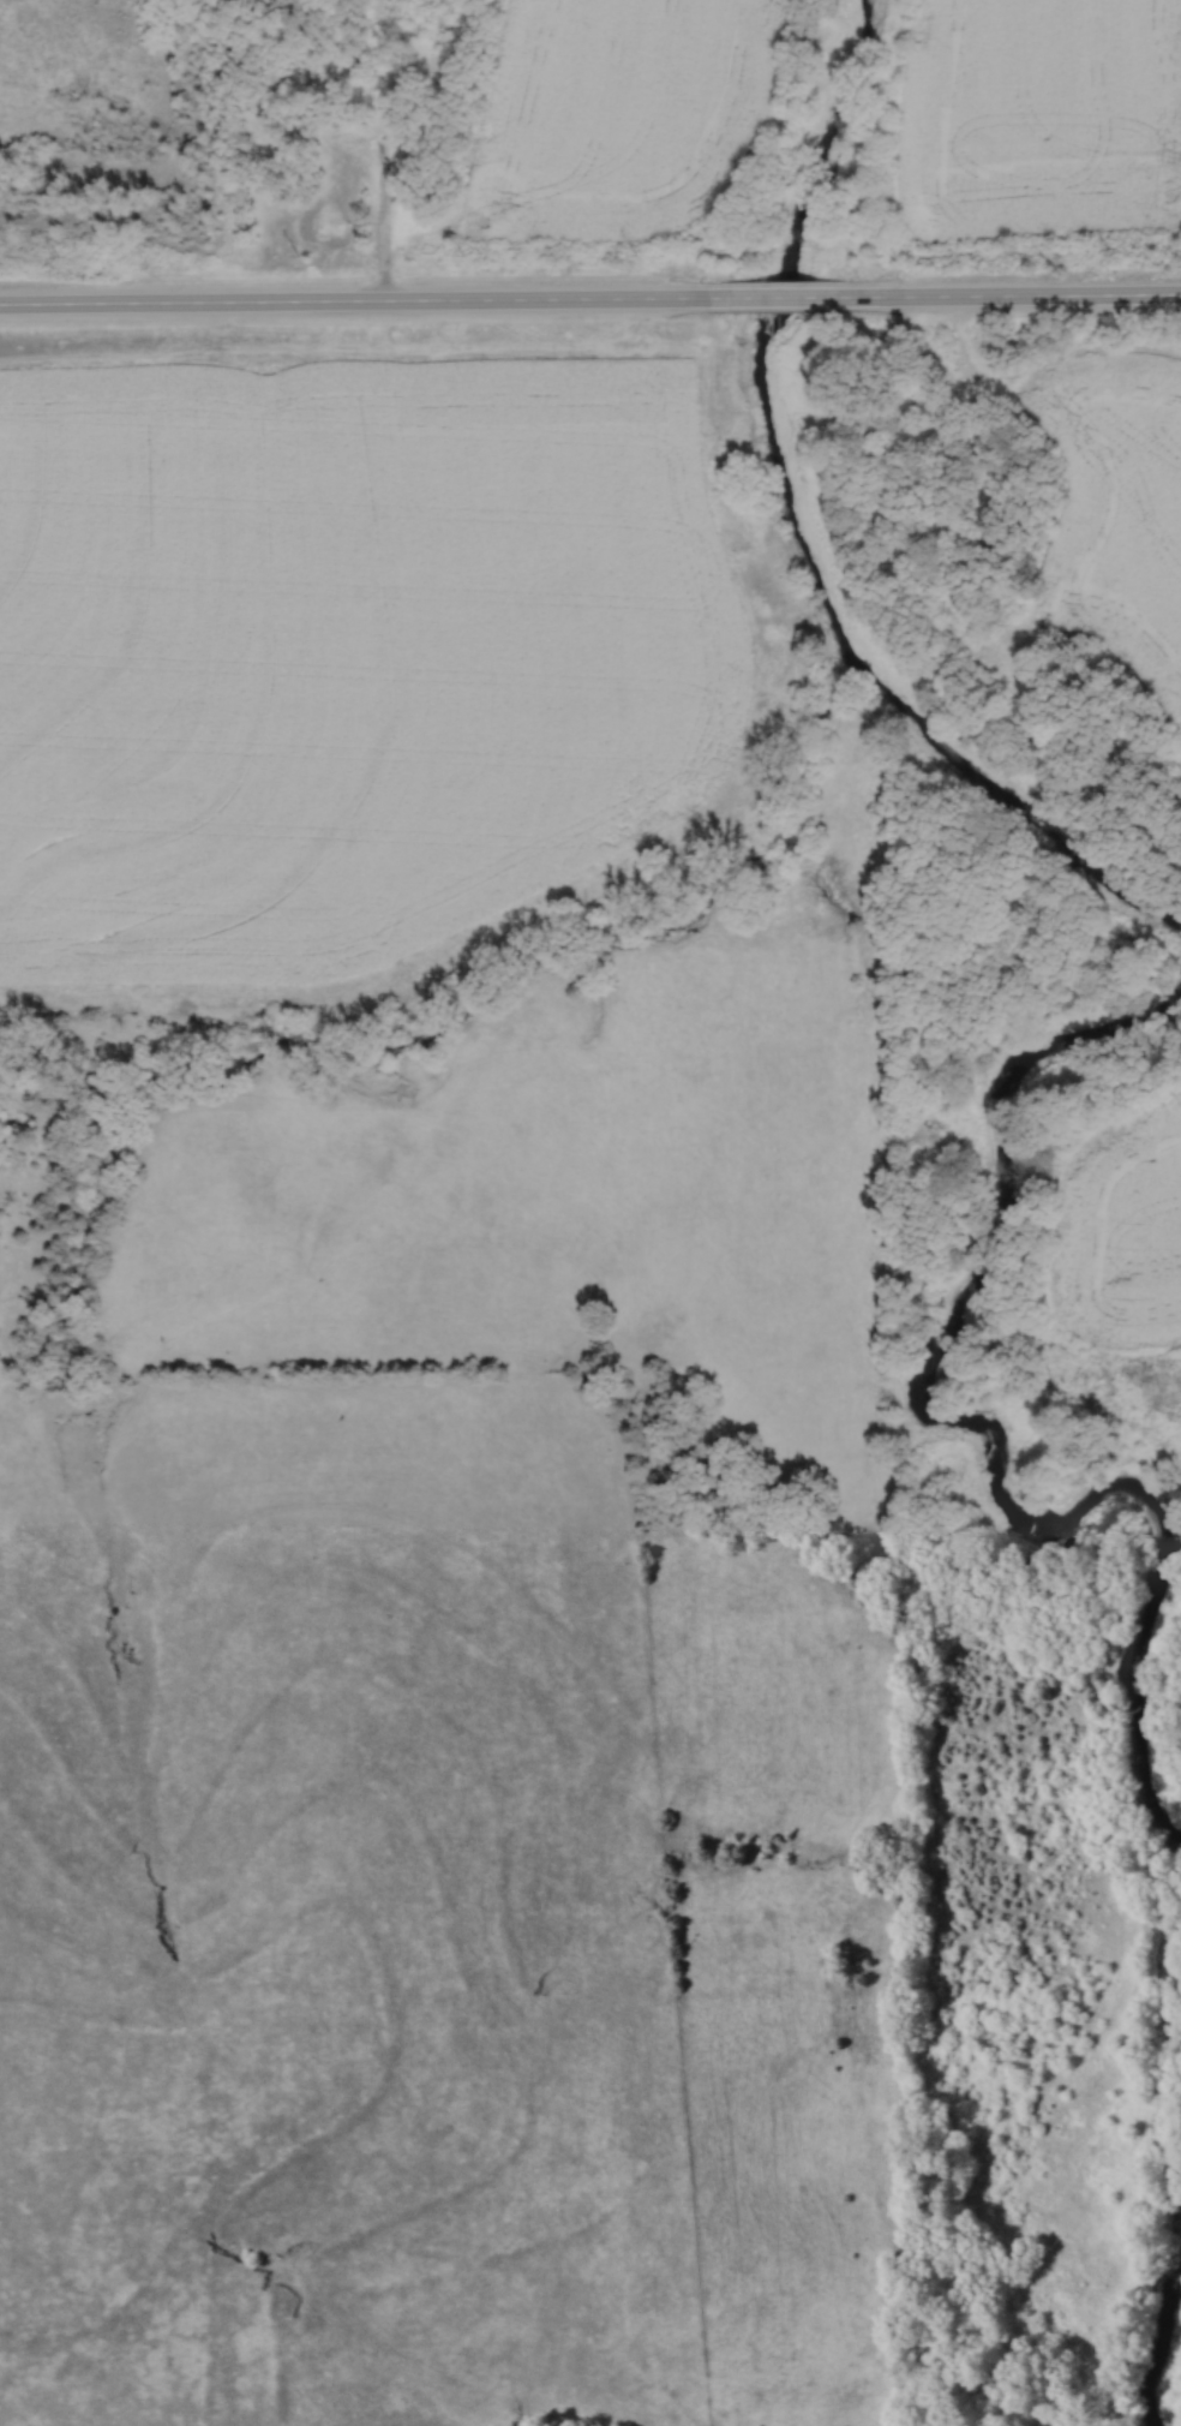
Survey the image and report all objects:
building: (371, 68)
building: (324, 223)
road: (380, 223)
road: (1027, 287)
road: (799, 288)
road: (362, 298)
river: (810, 528)
river: (1000, 1410)
river: (1162, 2370)

